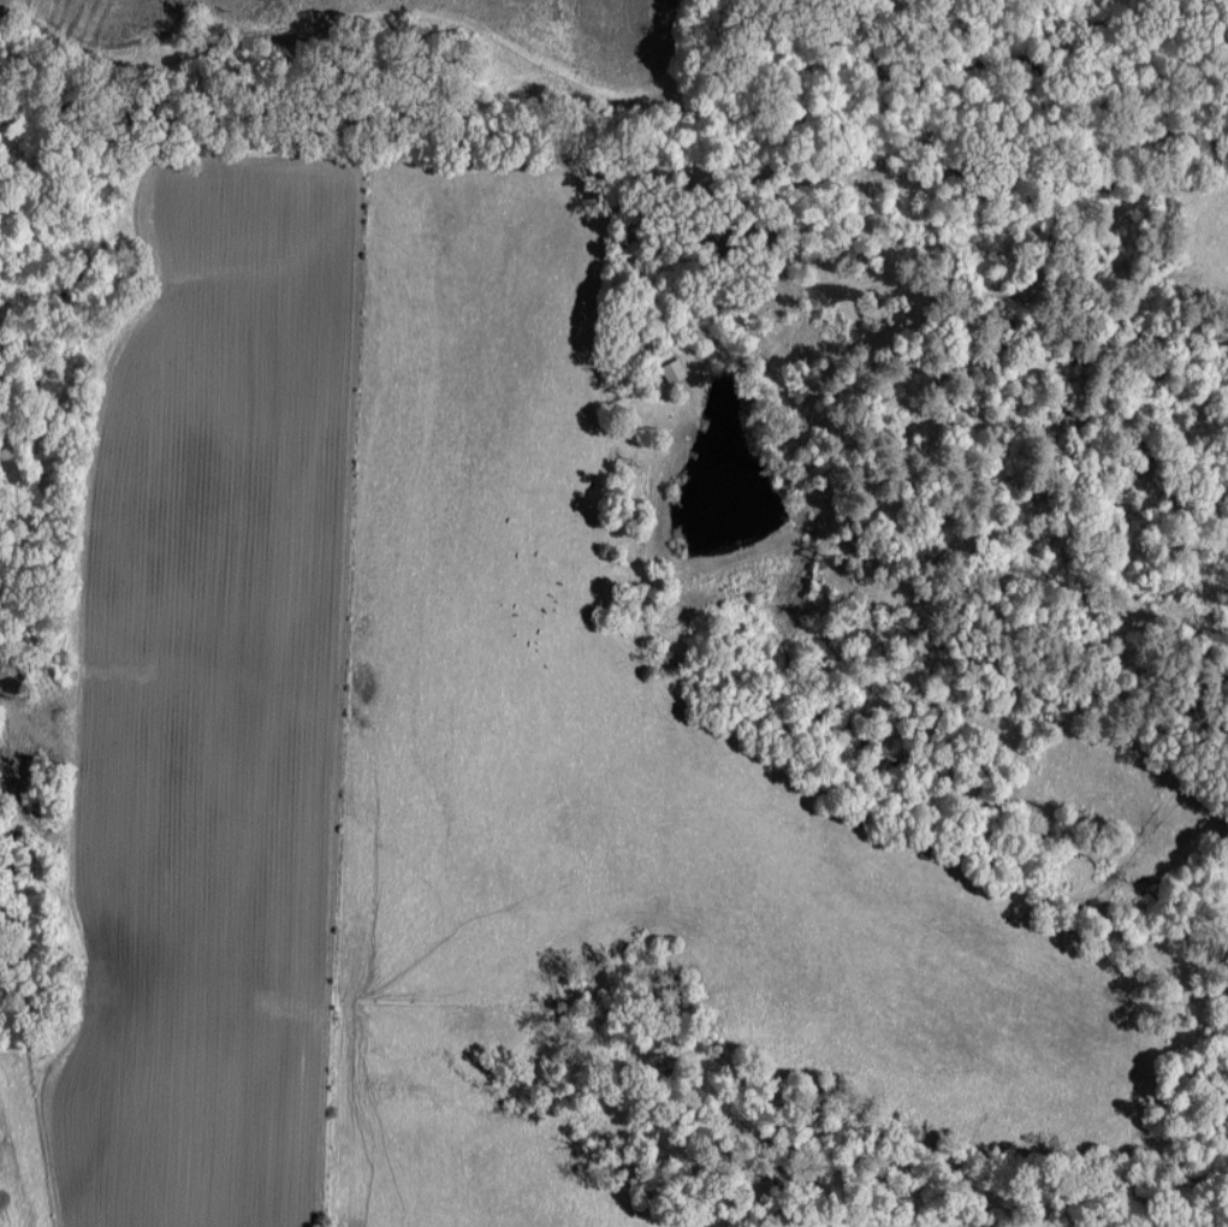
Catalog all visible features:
building: (674, 369)

